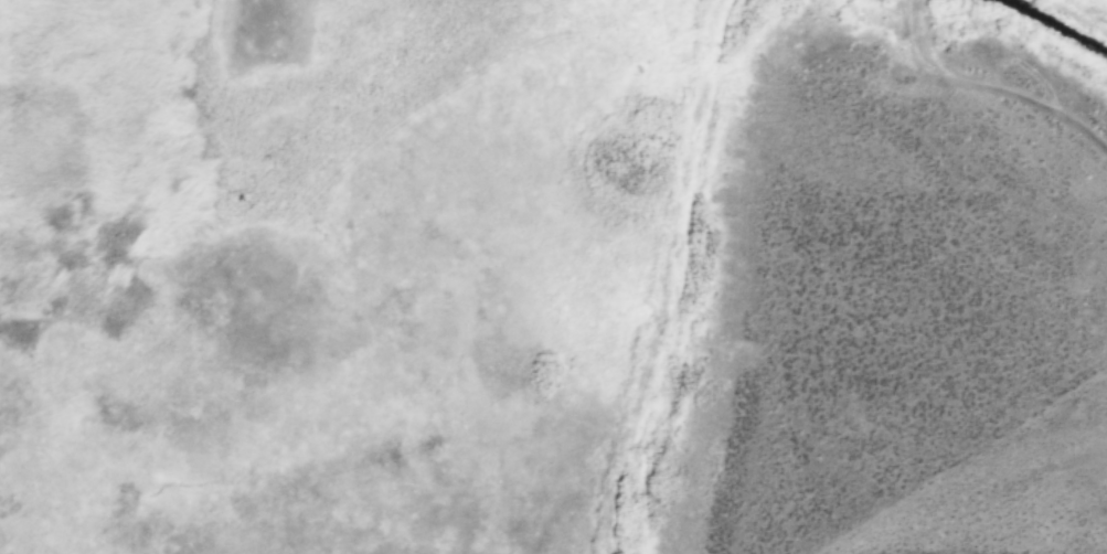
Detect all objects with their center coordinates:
road: (988, 90)

